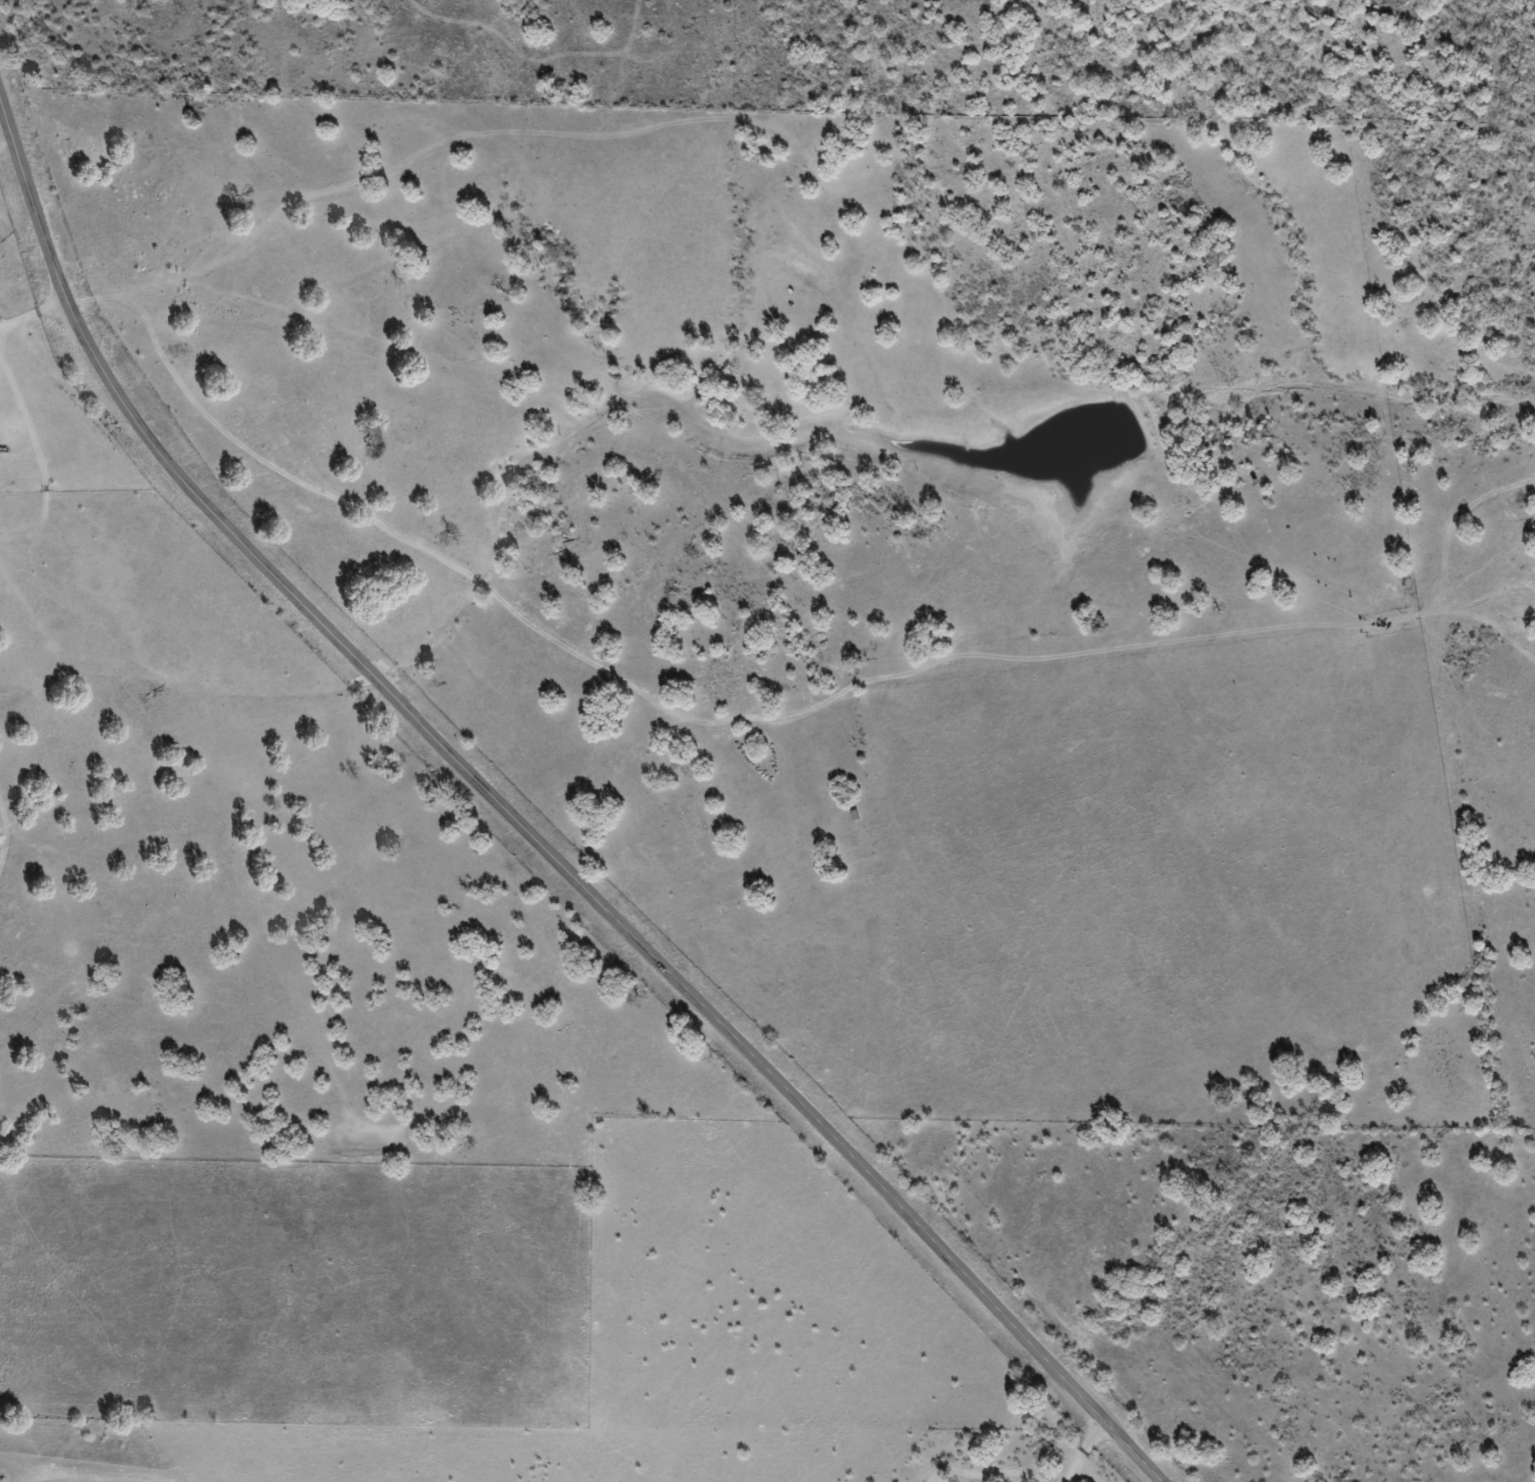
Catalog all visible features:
road: (475, 577)
road: (523, 827)
road: (1076, 1446)

